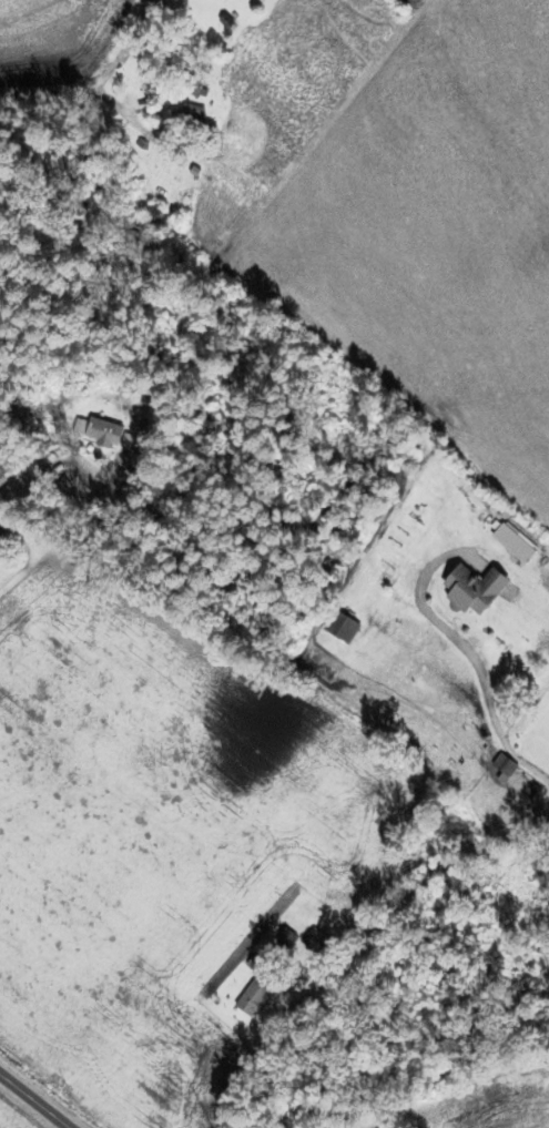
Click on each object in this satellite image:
road: (122, 109)
building: (194, 111)
building: (112, 434)
building: (4, 540)
building: (481, 588)
building: (347, 624)
road: (16, 678)
building: (321, 942)
building: (258, 997)
road: (274, 1027)
road: (34, 1098)

